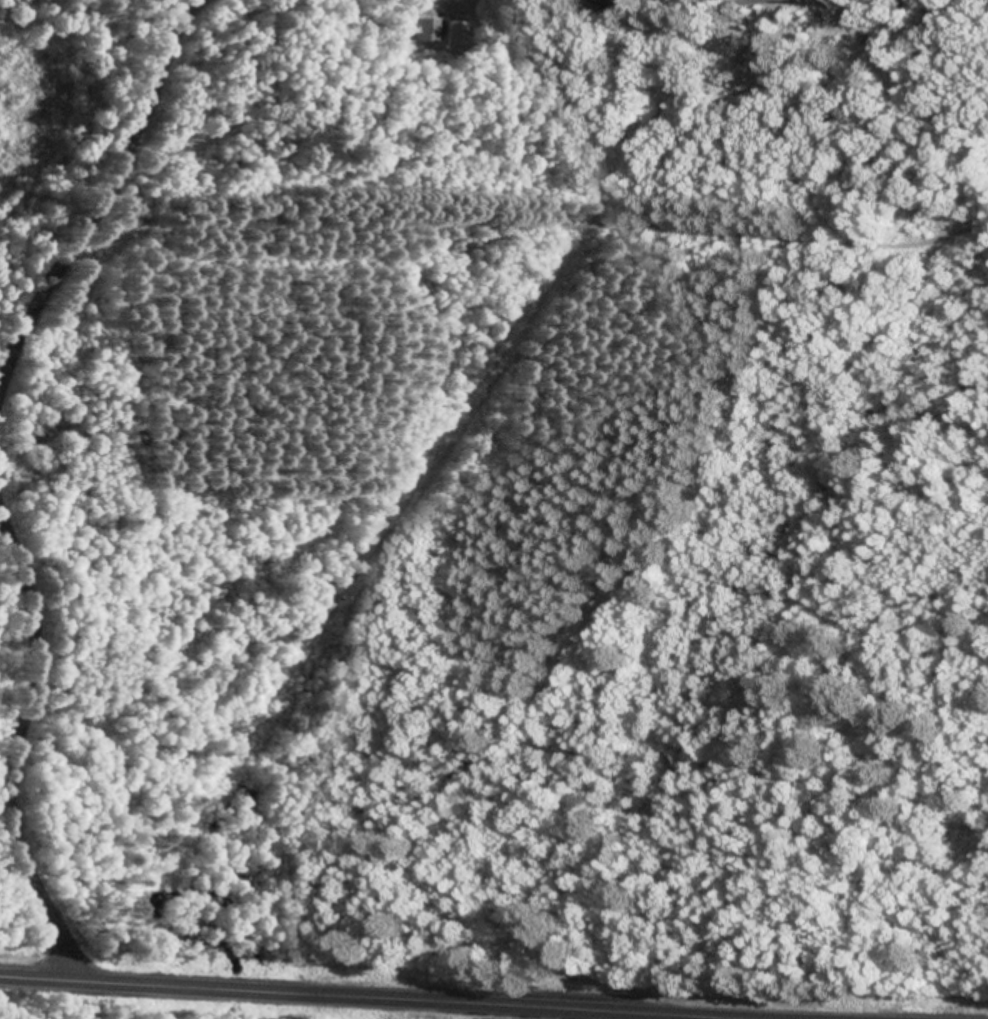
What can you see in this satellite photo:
building: (424, 31)
road: (105, 195)
road: (16, 746)
road: (368, 997)

